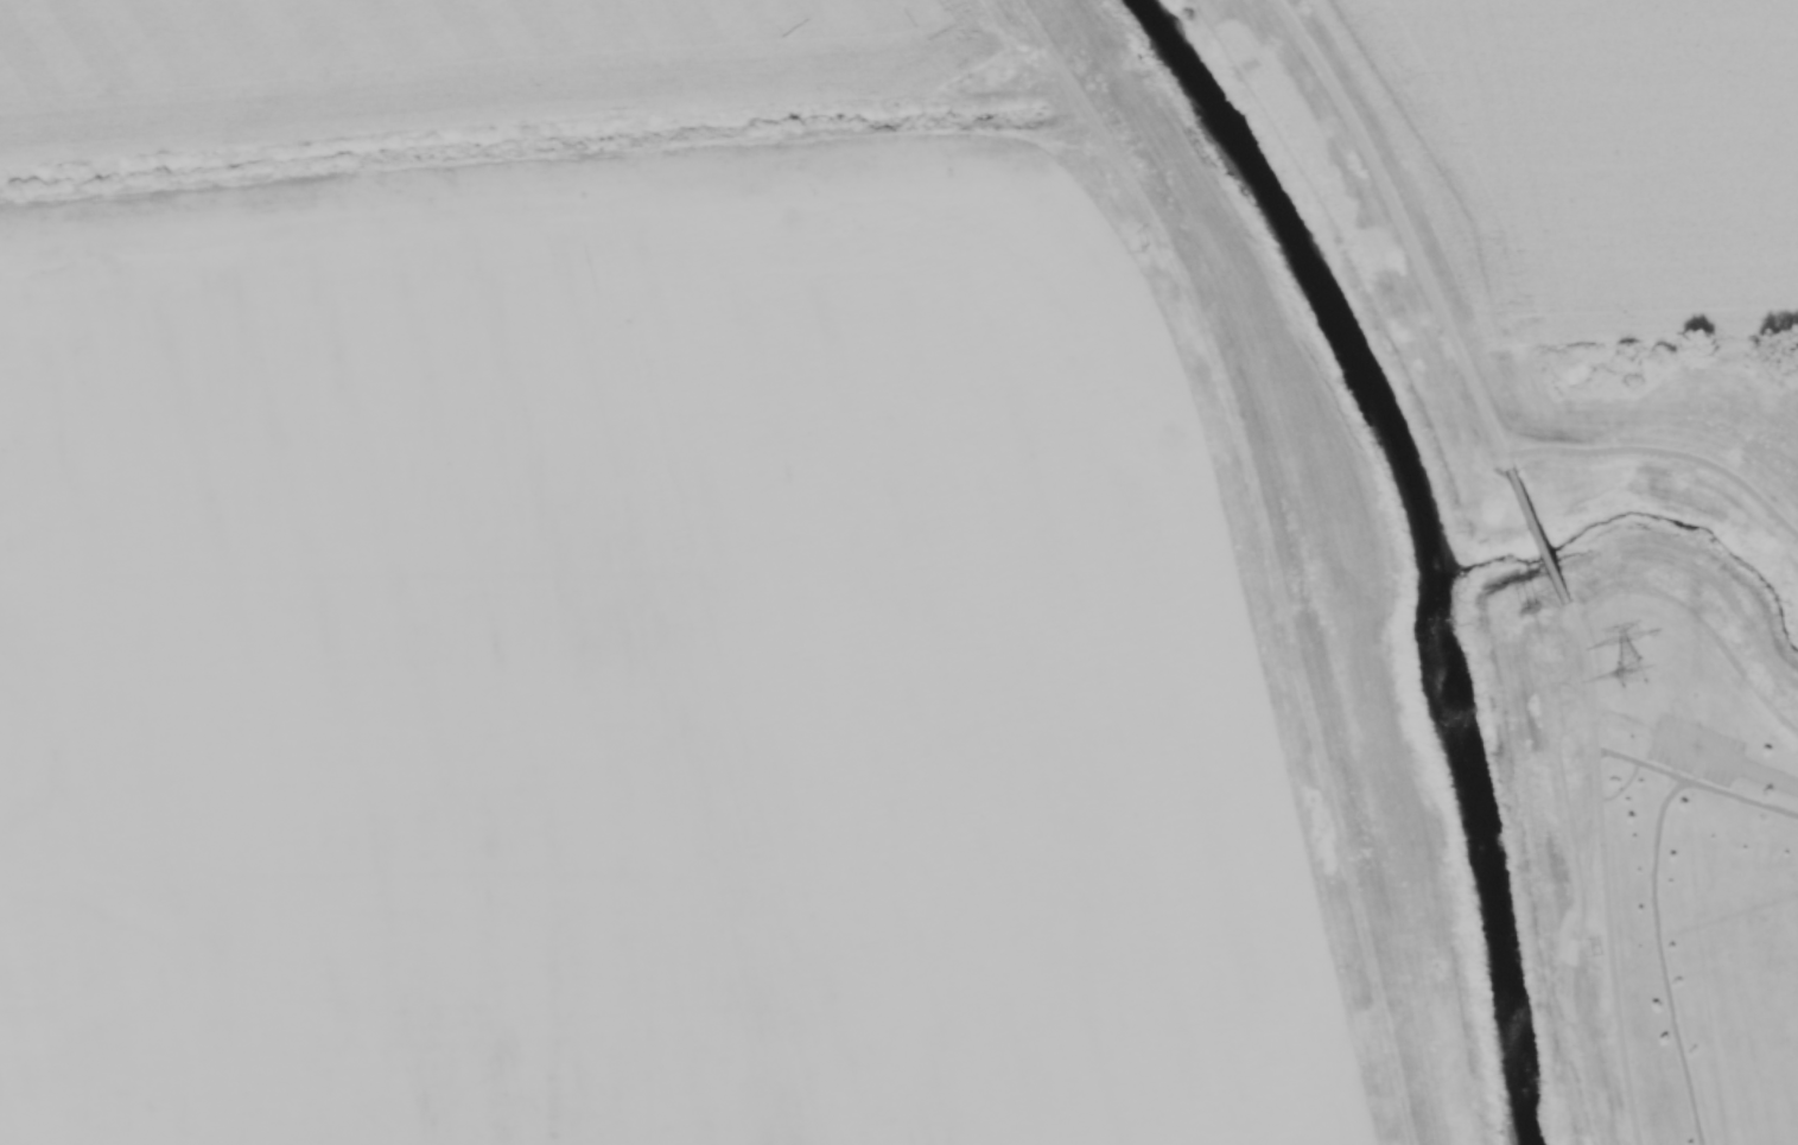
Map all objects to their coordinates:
power tower: (966, 77)
crop: (1591, 155)
road: (1406, 228)
power tower: (1141, 249)
river: (1313, 280)
road: (1666, 451)
park: (1633, 484)
road: (1542, 534)
power tower: (1529, 602)
power tower: (1632, 668)
parking lot: (1696, 749)
road: (1730, 761)
road: (1697, 782)
river: (1494, 867)
road: (1608, 871)
park: (1683, 888)
power tower: (1597, 954)
road: (1660, 959)

